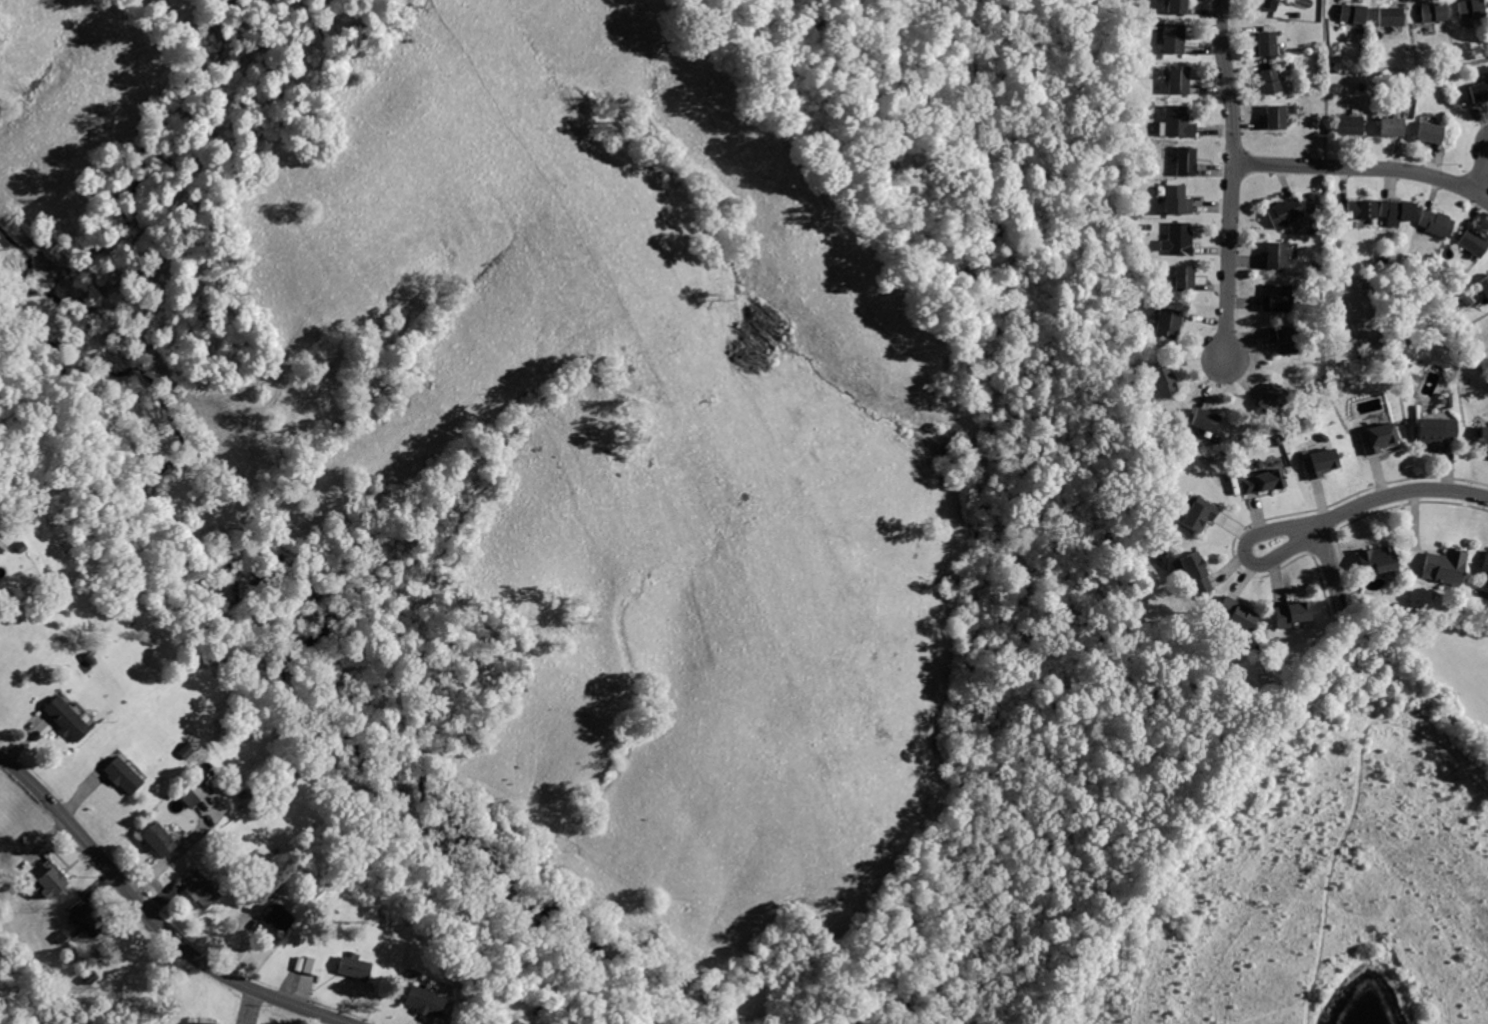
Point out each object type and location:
building: (1265, 4)
building: (1173, 6)
building: (1469, 8)
building: (1433, 12)
building: (1351, 14)
building: (1390, 16)
road: (1323, 34)
building: (1171, 38)
building: (1266, 43)
road: (1407, 73)
building: (1176, 78)
building: (1269, 81)
building: (1478, 90)
building: (1274, 118)
road: (1325, 118)
building: (1175, 122)
building: (1347, 125)
building: (1388, 128)
building: (1427, 133)
building: (1183, 159)
road: (1364, 168)
road: (1233, 179)
road: (1481, 182)
building: (1173, 197)
building: (1358, 207)
building: (1396, 209)
building: (1282, 212)
building: (1434, 222)
building: (1176, 239)
building: (1471, 242)
building: (1274, 255)
building: (1180, 277)
building: (1482, 285)
building: (1275, 296)
building: (1165, 322)
building: (1281, 338)
building: (1162, 378)
building: (1271, 397)
building: (1205, 420)
building: (1433, 428)
building: (1375, 437)
building: (1482, 437)
building: (1316, 461)
building: (1261, 479)
road: (1400, 492)
building: (1197, 515)
building: (1, 546)
road: (1245, 555)
building: (1370, 559)
building: (1441, 565)
building: (1483, 565)
road: (1330, 569)
building: (1192, 572)
building: (1288, 612)
building: (1232, 613)
building: (65, 718)
building: (121, 774)
building: (191, 792)
road: (1325, 831)
building: (157, 839)
building: (51, 881)
building: (198, 888)
building: (272, 913)
building: (86, 916)
road: (151, 920)
building: (305, 964)
building: (351, 966)
building: (421, 1000)
building: (505, 1022)

